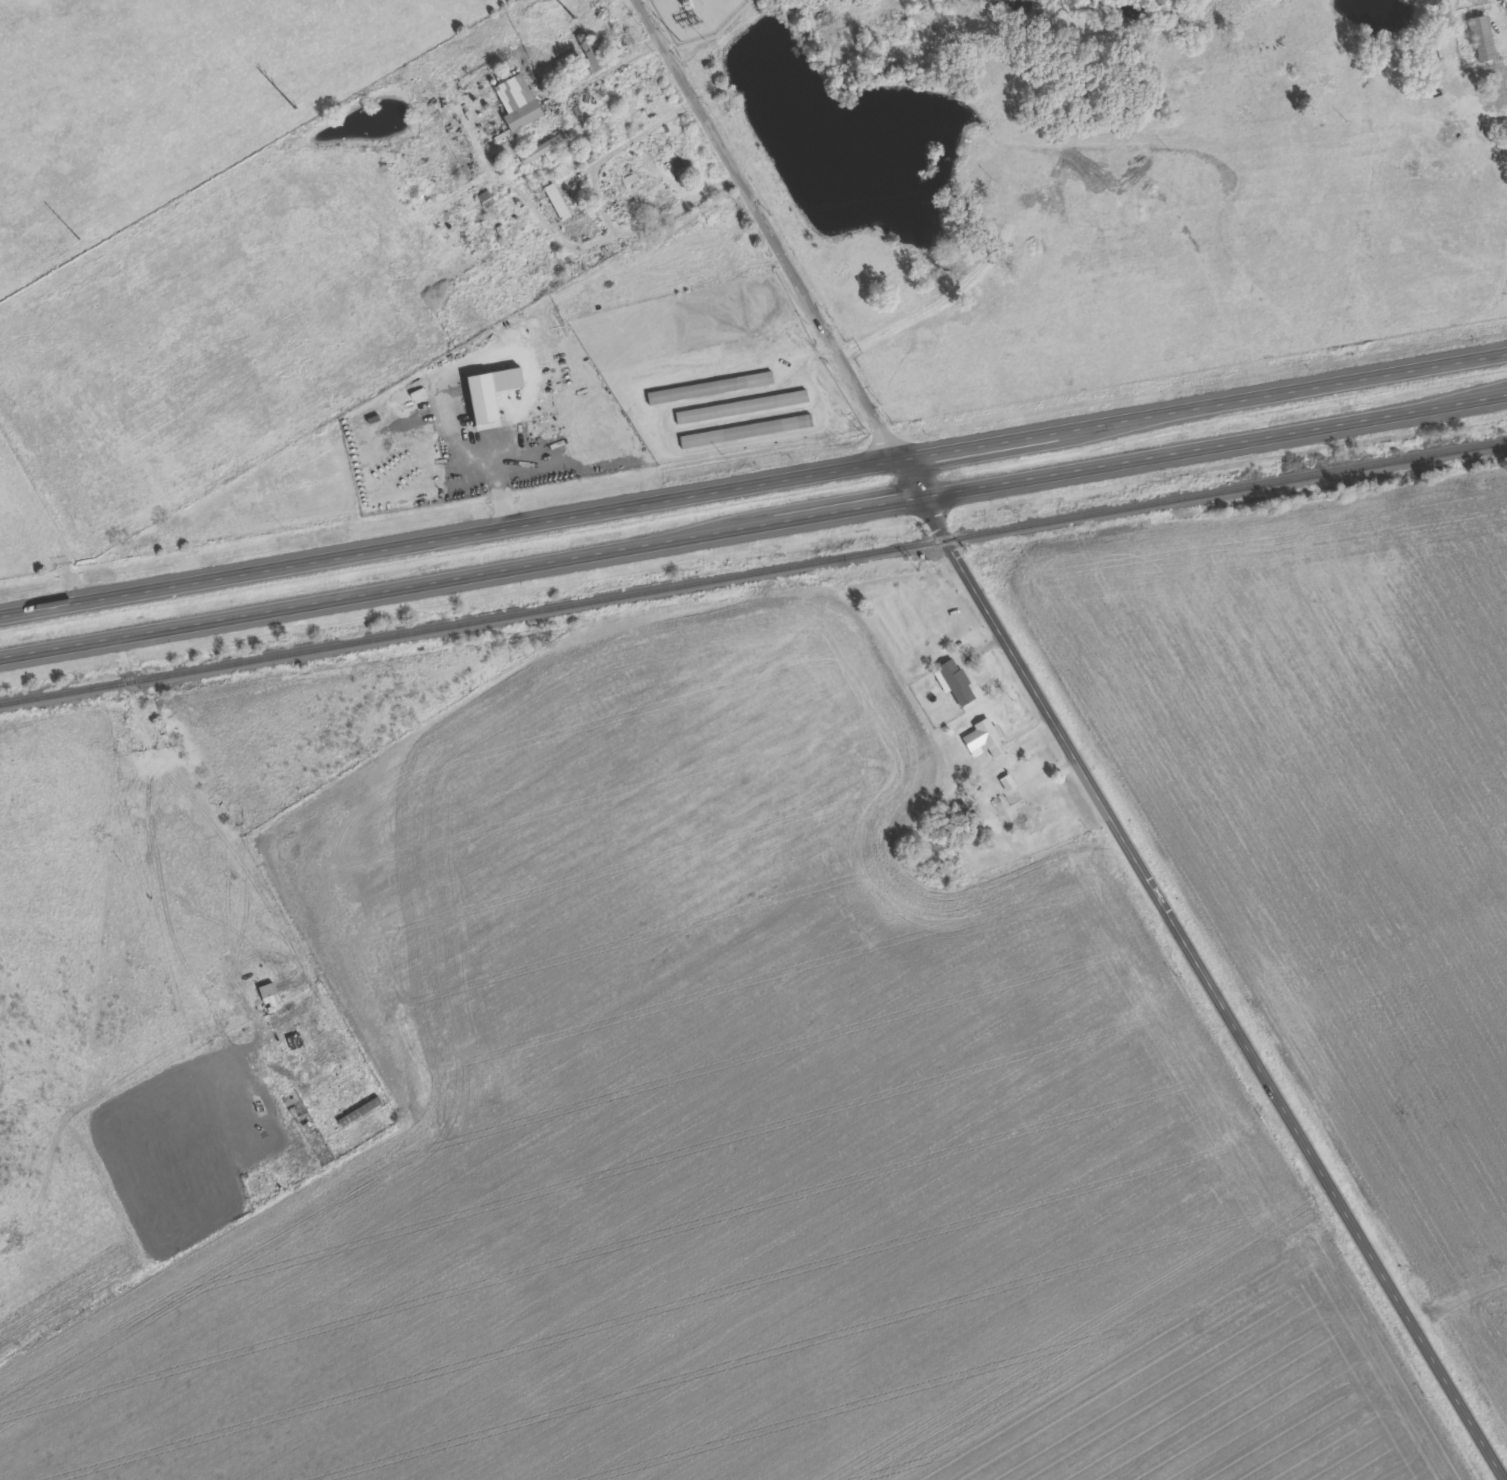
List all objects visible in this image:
power substation: (695, 16)
building: (1482, 38)
building: (588, 51)
building: (517, 103)
building: (543, 150)
building: (560, 209)
road: (766, 226)
building: (709, 387)
road: (1202, 403)
building: (742, 407)
building: (746, 431)
road: (1215, 445)
road: (448, 537)
railway: (753, 571)
road: (461, 576)
building: (956, 682)
building: (984, 738)
building: (974, 834)
road: (1198, 967)
road: (1456, 1294)

